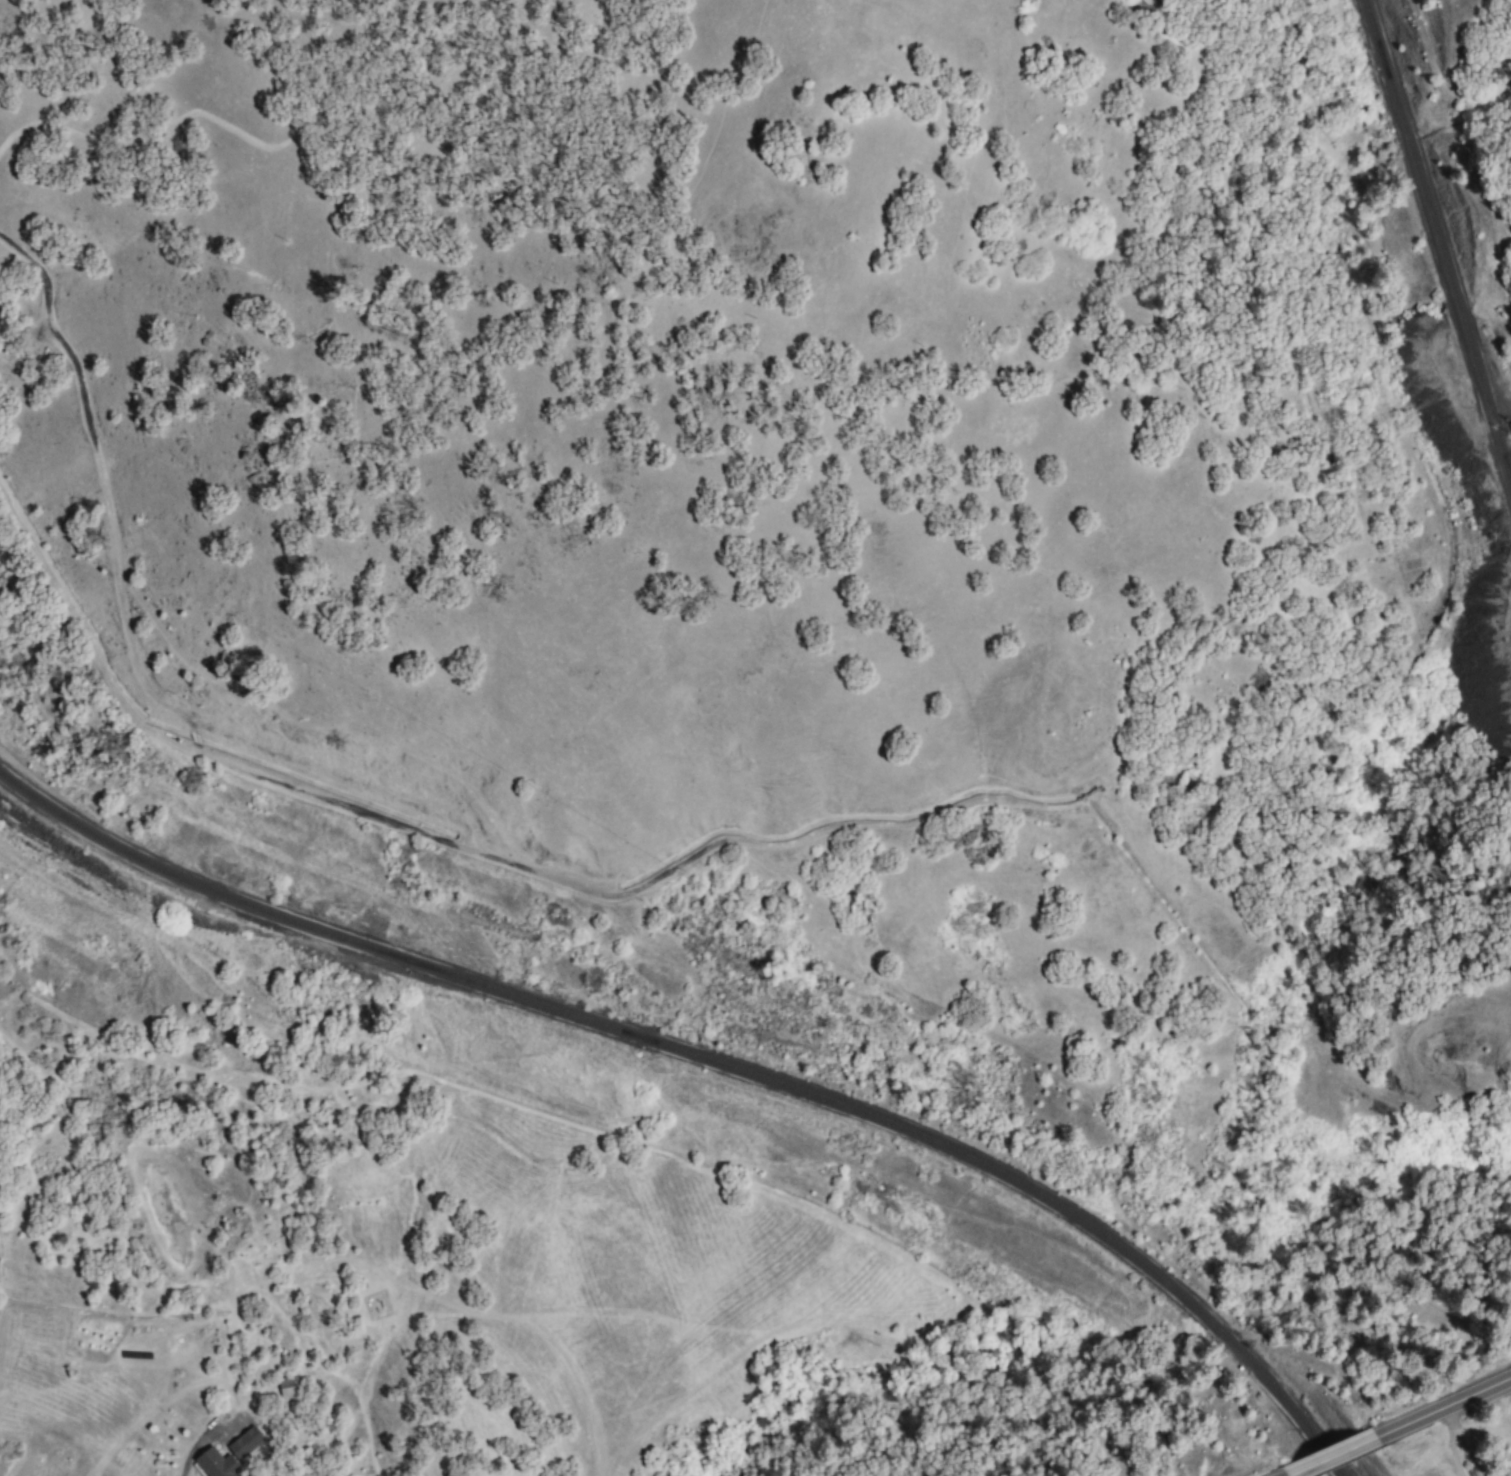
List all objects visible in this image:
railway: (1437, 239)
railway: (1499, 436)
railway: (714, 1060)
building: (286, 1390)
road: (1439, 1406)
building: (244, 1446)
road: (1324, 1457)
building: (215, 1465)

